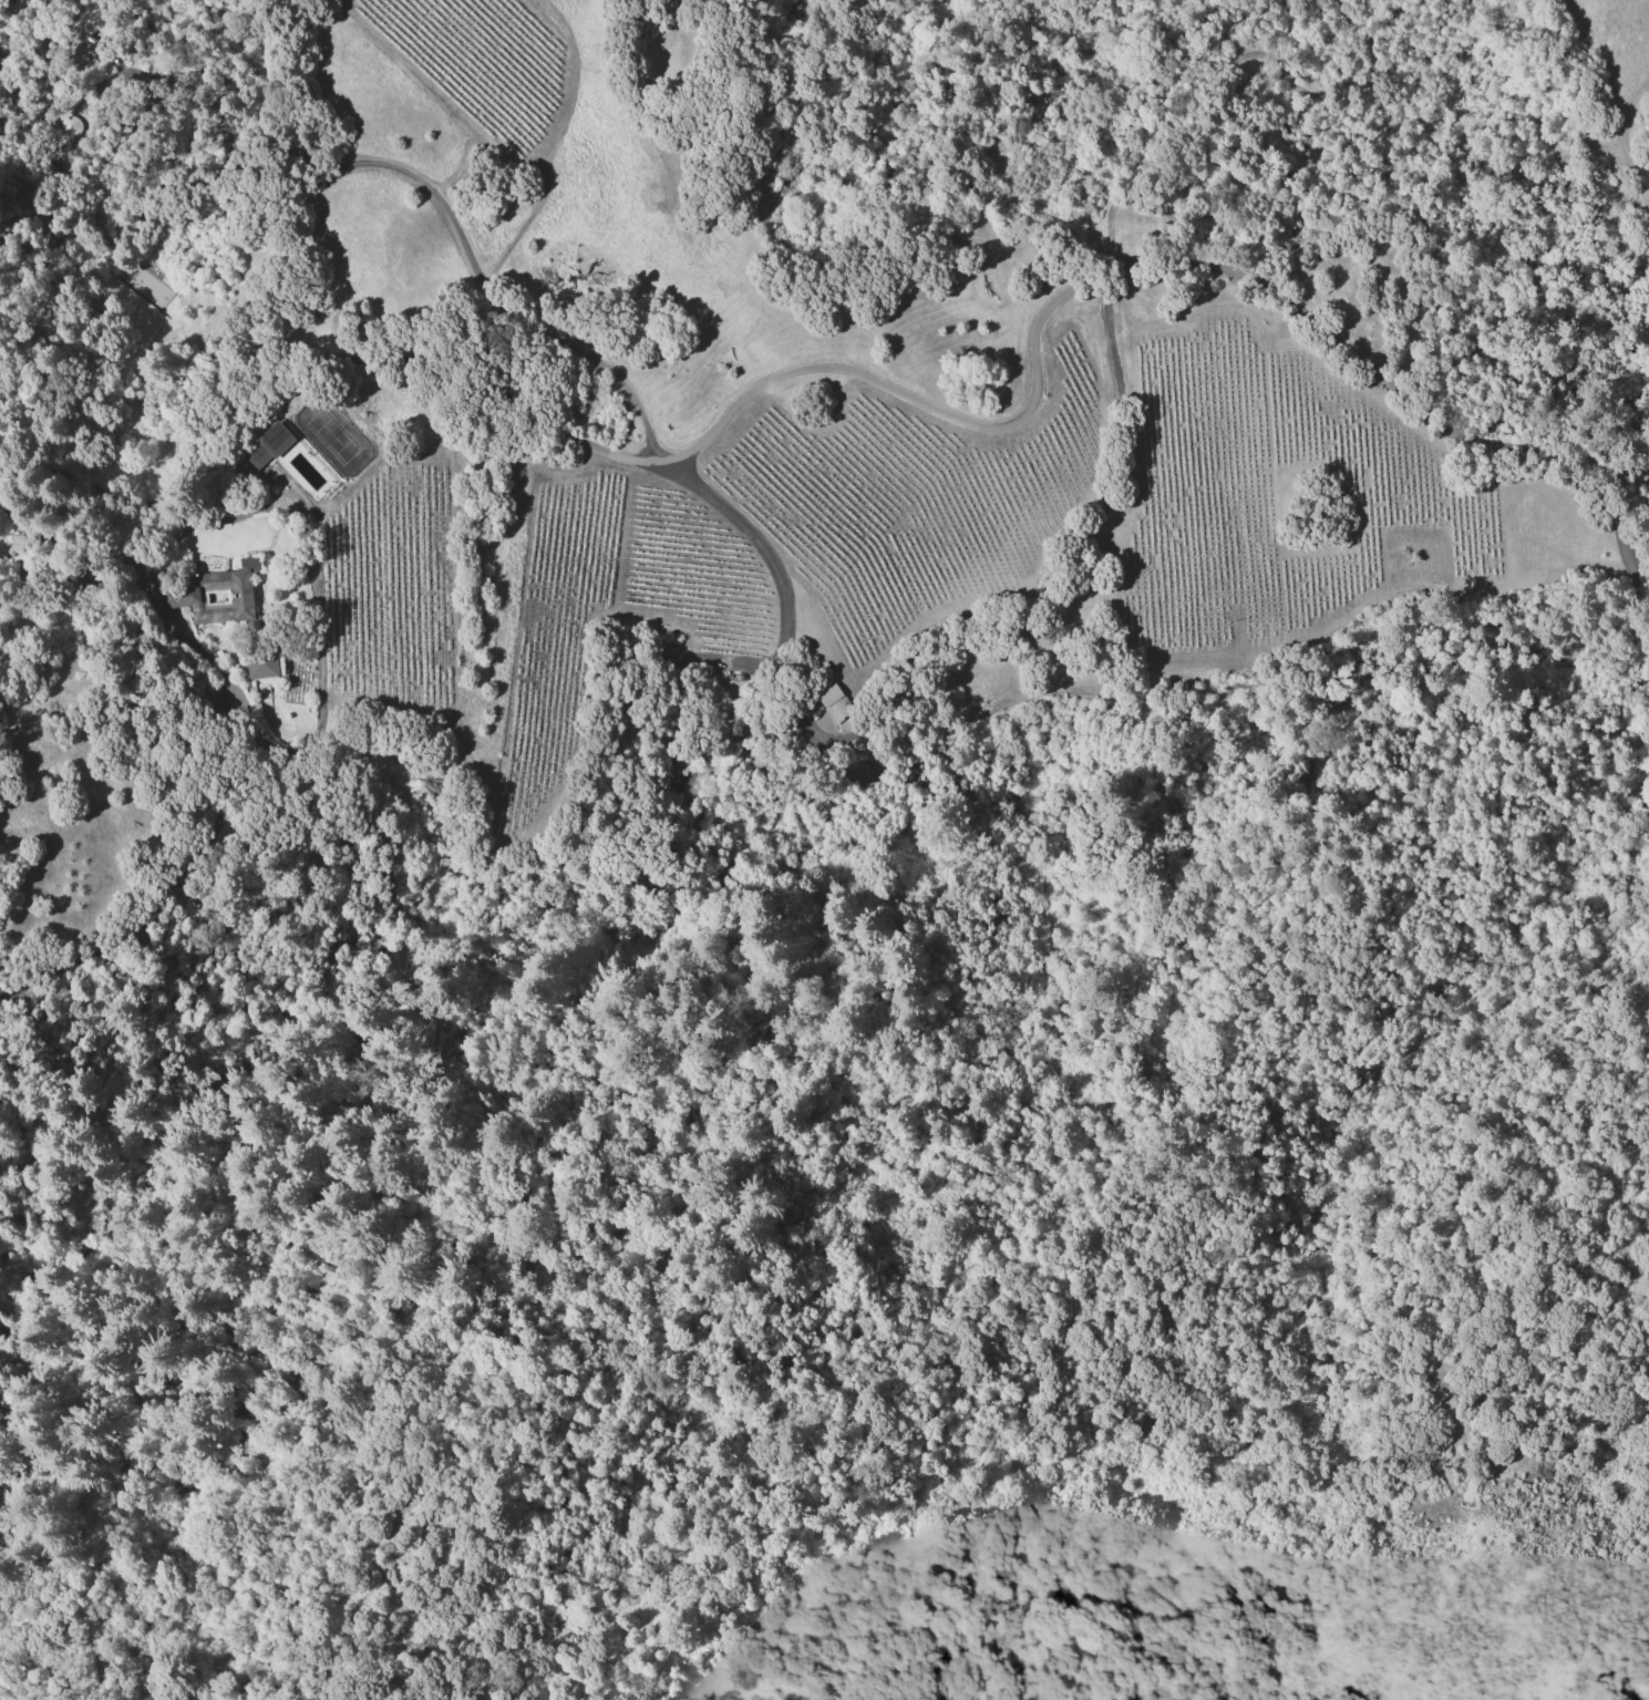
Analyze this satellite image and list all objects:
building: (268, 445)
crop: (790, 450)
road: (1627, 567)
building: (216, 594)
building: (261, 666)
building: (835, 700)
building: (674, 767)

